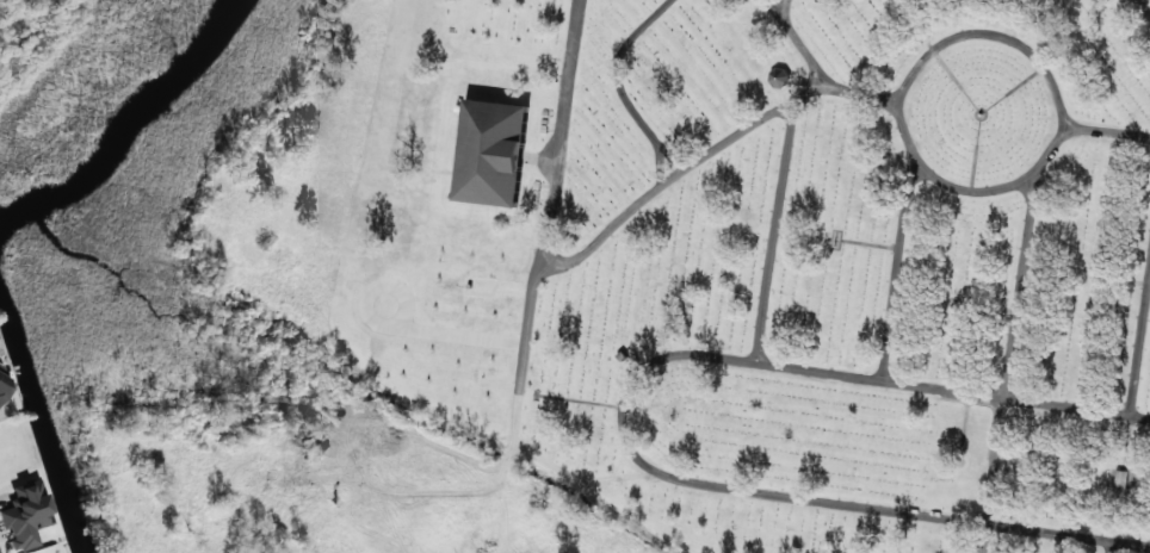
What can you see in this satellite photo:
road: (792, 11)
road: (1140, 13)
road: (799, 39)
road: (1031, 56)
road: (627, 85)
road: (809, 93)
building: (491, 154)
park: (736, 257)
road: (569, 261)
road: (901, 273)
road: (1016, 321)
road: (1140, 356)
road: (475, 359)
building: (0, 368)
building: (2, 387)
road: (626, 420)
building: (1125, 481)
building: (21, 516)

